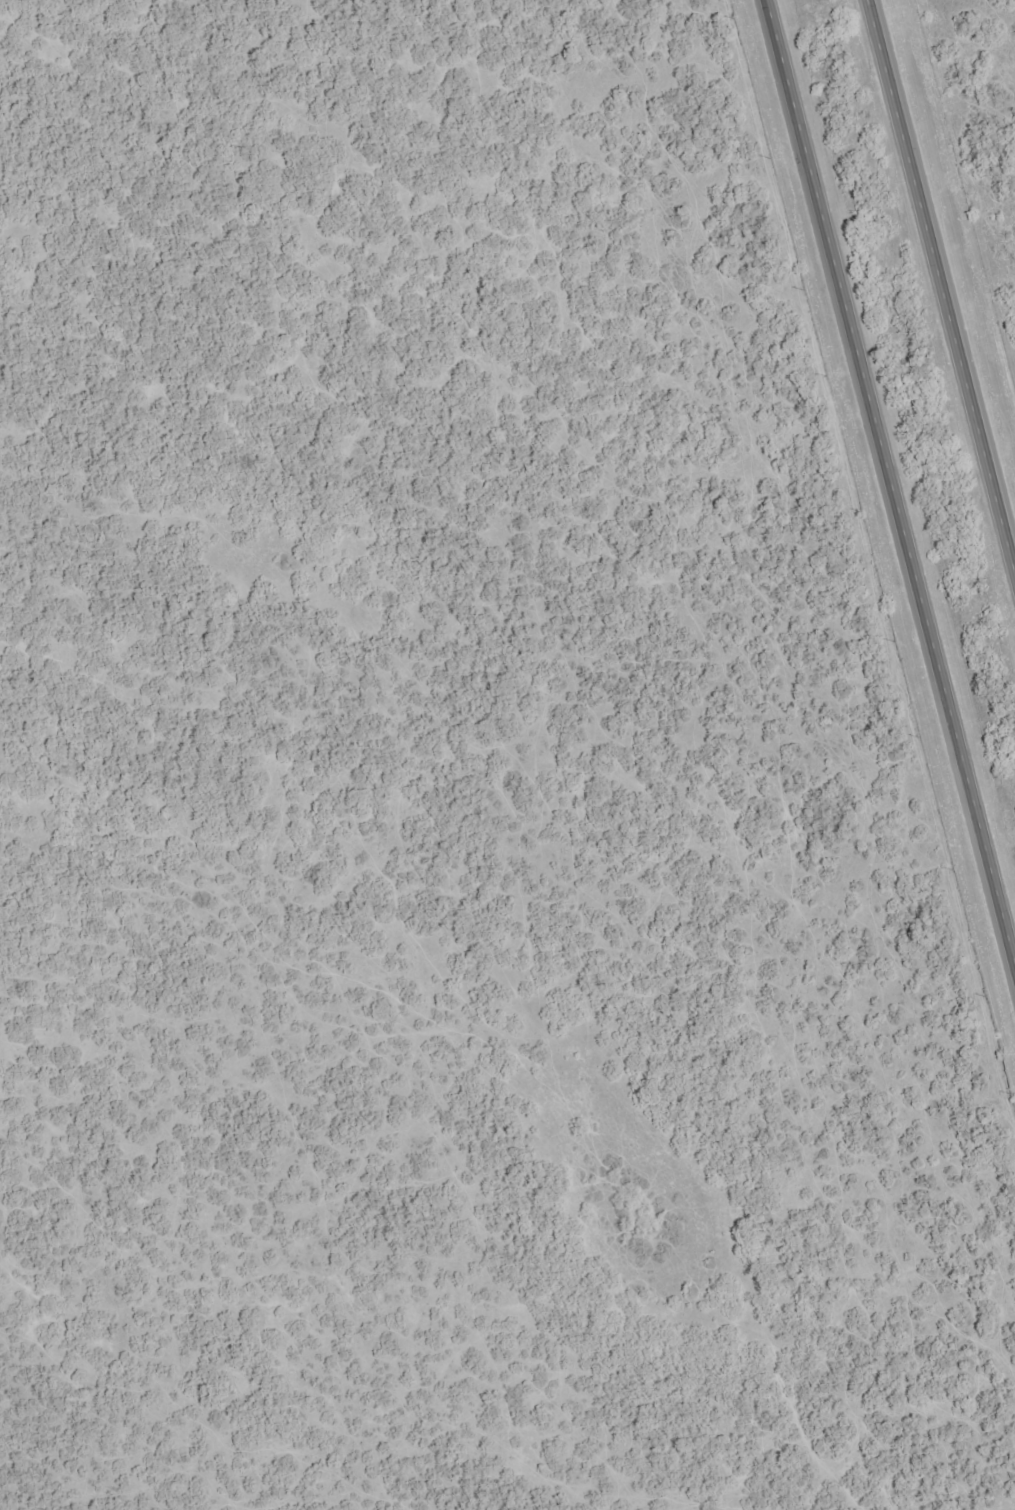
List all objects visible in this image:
road: (944, 278)
road: (894, 466)

